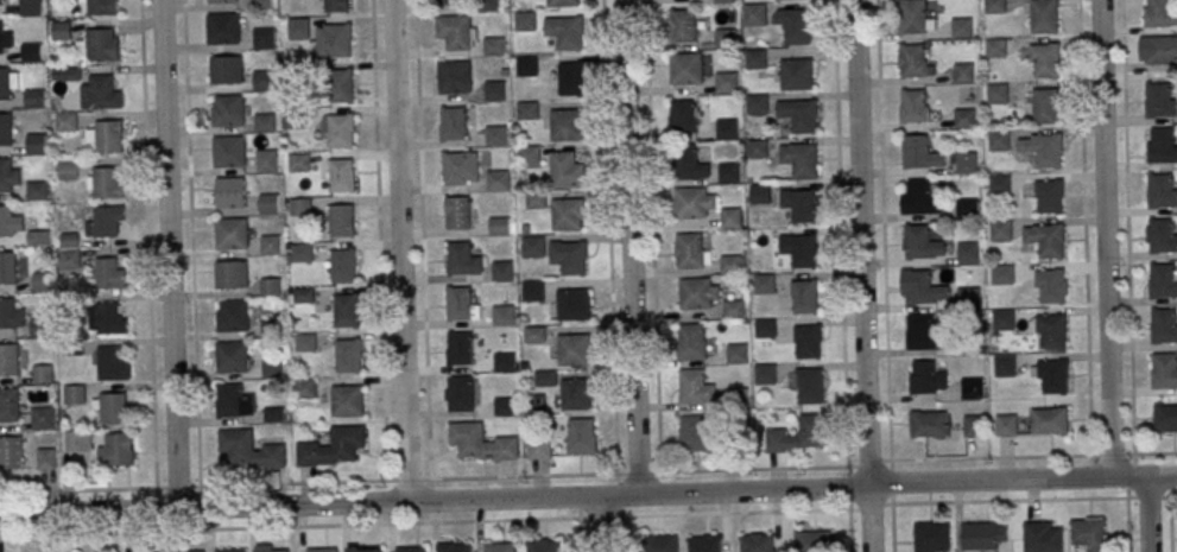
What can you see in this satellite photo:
building: (227, 1)
building: (449, 1)
building: (724, 1)
building: (5, 2)
building: (562, 2)
building: (261, 4)
building: (99, 6)
building: (337, 6)
building: (994, 6)
building: (30, 7)
building: (1160, 12)
building: (754, 14)
building: (1045, 15)
building: (916, 17)
building: (525, 20)
building: (795, 25)
building: (683, 26)
building: (962, 27)
building: (223, 28)
building: (298, 28)
building: (61, 31)
building: (458, 32)
building: (565, 32)
building: (724, 37)
building: (264, 38)
building: (337, 40)
building: (6, 42)
building: (101, 45)
building: (494, 45)
building: (995, 47)
building: (1160, 50)
building: (33, 52)
building: (755, 59)
building: (1044, 59)
building: (915, 62)
building: (527, 65)
building: (688, 69)
building: (227, 70)
building: (963, 72)
building: (796, 75)
building: (454, 77)
building: (571, 78)
building: (264, 81)
building: (5, 83)
building: (727, 83)
building: (341, 85)
building: (495, 90)
building: (100, 93)
building: (998, 94)
building: (36, 97)
building: (1159, 101)
building: (757, 104)
building: (913, 106)
building: (1046, 106)
building: (527, 110)
building: (228, 112)
building: (798, 114)
building: (683, 115)
building: (296, 119)
building: (964, 119)
building: (68, 122)
building: (265, 122)
building: (453, 123)
building: (567, 125)
building: (6, 129)
building: (727, 129)
building: (341, 131)
building: (496, 135)
building: (106, 137)
building: (999, 140)
building: (38, 142)
building: (1162, 146)
building: (758, 148)
building: (1043, 148)
building: (229, 151)
building: (919, 152)
building: (530, 157)
building: (804, 160)
building: (266, 161)
building: (299, 163)
building: (689, 163)
building: (967, 163)
building: (461, 167)
building: (69, 170)
building: (567, 170)
building: (729, 172)
building: (8, 175)
building: (342, 175)
building: (498, 180)
building: (105, 183)
building: (999, 184)
building: (39, 190)
building: (1160, 191)
building: (230, 192)
building: (1049, 197)
building: (919, 198)
building: (536, 201)
building: (691, 203)
building: (268, 204)
building: (804, 205)
building: (300, 207)
building: (969, 208)
building: (458, 212)
building: (568, 214)
building: (730, 217)
building: (7, 221)
building: (342, 221)
building: (105, 222)
building: (500, 226)
road: (884, 230)
building: (1000, 230)
building: (232, 233)
building: (1162, 235)
road: (1106, 237)
building: (38, 239)
road: (422, 239)
building: (1045, 239)
building: (922, 242)
building: (270, 245)
building: (533, 247)
road: (629, 247)
road: (400, 250)
building: (691, 250)
building: (302, 252)
building: (804, 252)
building: (968, 253)
road: (169, 254)
building: (569, 256)
building: (70, 259)
building: (463, 260)
building: (732, 264)
building: (343, 266)
building: (8, 268)
building: (504, 271)
building: (110, 273)
building: (232, 274)
building: (1001, 274)
road: (861, 275)
building: (1162, 280)
building: (42, 281)
building: (764, 284)
building: (1051, 286)
building: (924, 287)
building: (533, 291)
building: (969, 296)
building: (708, 297)
building: (805, 297)
building: (461, 303)
building: (574, 304)
building: (346, 311)
building: (11, 313)
building: (502, 315)
building: (233, 316)
building: (112, 318)
building: (1002, 319)
building: (40, 326)
building: (1164, 326)
building: (765, 328)
building: (1050, 330)
building: (922, 331)
building: (534, 335)
building: (808, 341)
building: (305, 342)
building: (694, 342)
building: (460, 348)
building: (575, 350)
building: (738, 354)
building: (233, 356)
building: (348, 356)
building: (10, 359)
building: (504, 362)
building: (112, 364)
building: (1004, 364)
building: (1164, 370)
building: (43, 374)
building: (765, 374)
building: (1051, 375)
building: (926, 377)
building: (545, 379)
building: (811, 385)
building: (305, 388)
building: (695, 388)
building: (973, 388)
building: (460, 393)
building: (576, 394)
building: (74, 395)
building: (736, 395)
building: (347, 400)
building: (234, 402)
building: (10, 404)
building: (504, 406)
building: (110, 407)
building: (43, 418)
building: (1165, 418)
building: (1049, 420)
building: (929, 424)
building: (1006, 425)
building: (973, 426)
building: (811, 430)
building: (696, 433)
building: (582, 436)
building: (78, 440)
building: (481, 443)
building: (333, 448)
building: (539, 448)
building: (116, 450)
building: (249, 450)
building: (11, 452)
road: (1033, 456)
building: (46, 458)
road: (879, 461)
road: (681, 472)
road: (588, 495)
road: (1034, 499)
road: (735, 513)
road: (1150, 513)
road: (892, 516)
road: (599, 522)
road: (1171, 524)
road: (1128, 525)
road: (311, 526)
building: (1090, 533)
building: (983, 535)
building: (932, 537)
building: (1043, 537)
building: (814, 541)
building: (704, 543)
building: (757, 543)
building: (660, 544)
building: (544, 545)
building: (454, 547)
building: (500, 547)
building: (272, 548)
building: (230, 550)
building: (322, 550)
building: (366, 550)
building: (411, 550)
building: (189, 551)

